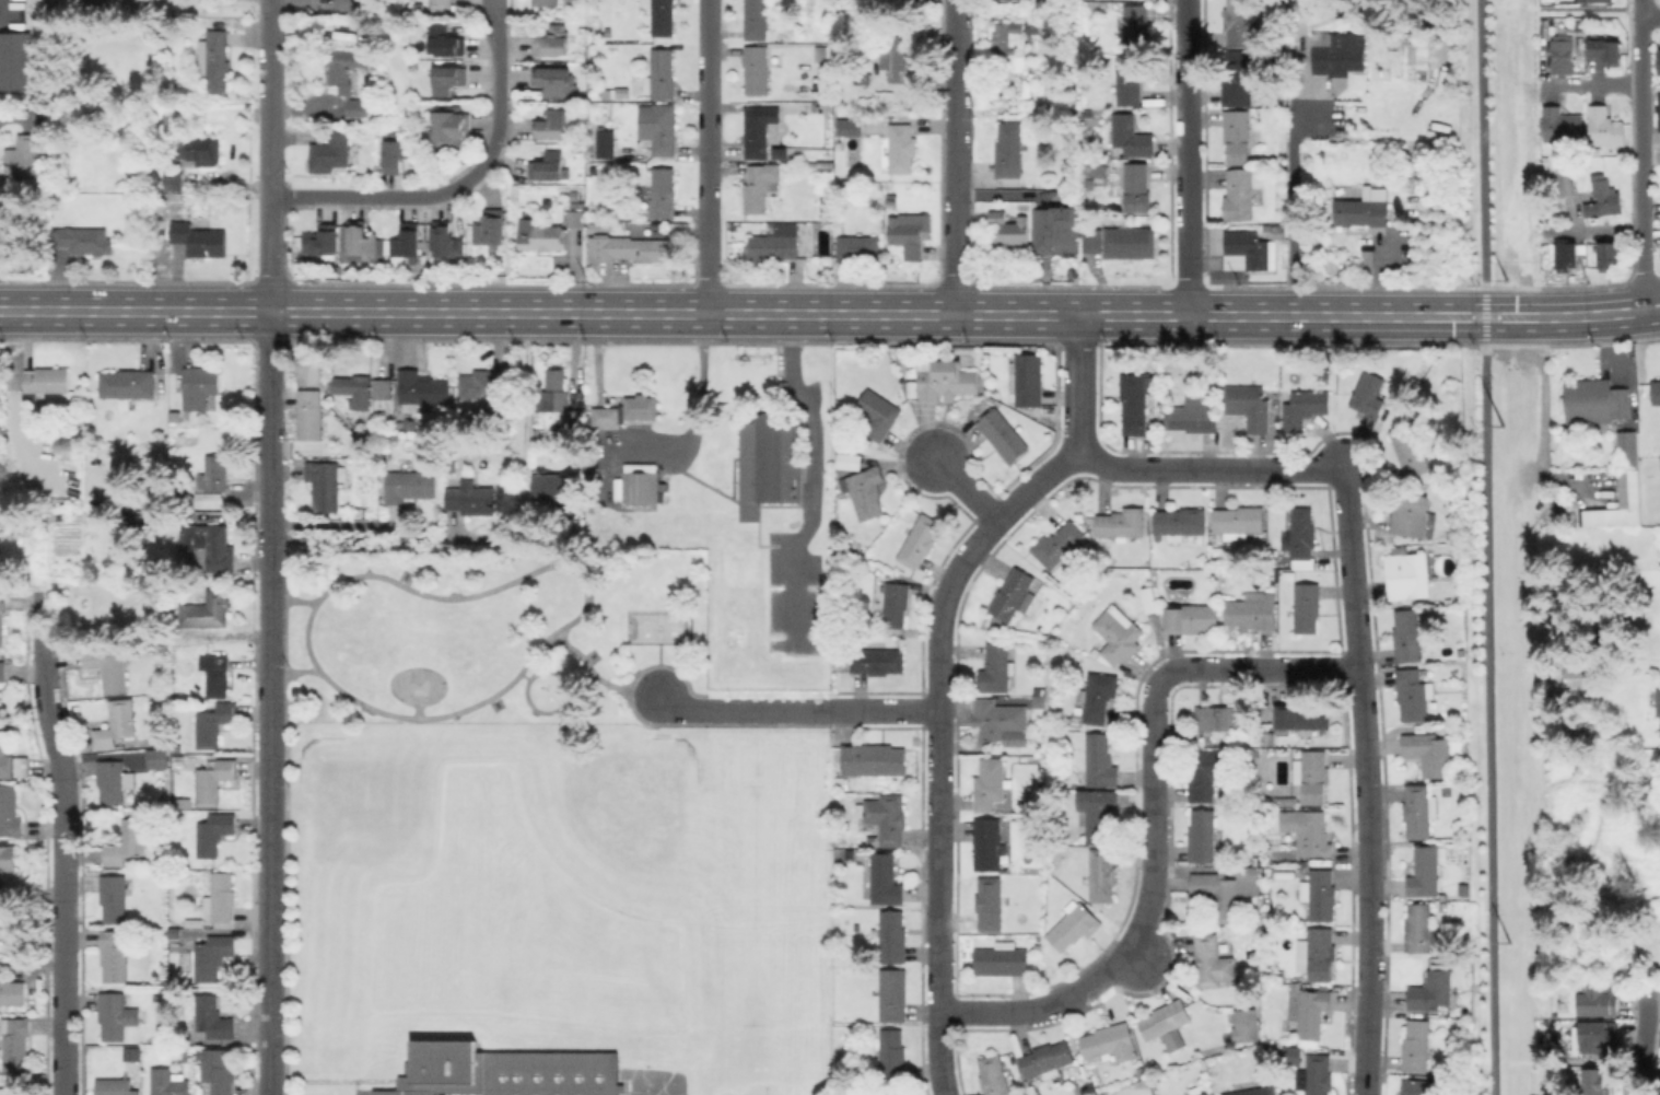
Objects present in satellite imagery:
building: (1543, 0)
building: (902, 1)
building: (1594, 1)
building: (96, 2)
building: (440, 2)
building: (545, 2)
building: (347, 4)
road: (491, 7)
building: (809, 12)
building: (663, 16)
road: (1650, 18)
building: (756, 19)
building: (1238, 22)
building: (1134, 26)
building: (445, 42)
building: (551, 42)
building: (1010, 46)
building: (1606, 53)
building: (822, 54)
building: (1564, 56)
building: (898, 58)
building: (1338, 58)
building: (214, 59)
building: (1658, 59)
building: (14, 60)
building: (346, 66)
building: (756, 68)
building: (657, 75)
building: (862, 78)
building: (1238, 78)
building: (448, 79)
building: (1127, 80)
building: (556, 81)
road: (1594, 85)
building: (616, 93)
road: (268, 98)
building: (1325, 104)
building: (356, 108)
building: (1659, 108)
building: (640, 112)
road: (16, 115)
building: (446, 124)
building: (550, 124)
building: (850, 126)
building: (1563, 126)
building: (1605, 127)
building: (664, 130)
building: (757, 132)
building: (1131, 135)
building: (1237, 135)
building: (605, 141)
road: (1482, 143)
building: (901, 148)
building: (199, 150)
building: (1008, 150)
building: (330, 151)
building: (23, 155)
building: (394, 155)
road: (1640, 155)
road: (706, 156)
road: (954, 158)
road: (1186, 158)
building: (826, 165)
building: (547, 166)
building: (1096, 171)
building: (173, 179)
building: (1566, 180)
road: (455, 185)
building: (760, 185)
building: (1137, 186)
building: (663, 191)
building: (1239, 194)
building: (1604, 197)
road: (1289, 203)
building: (1364, 207)
building: (576, 213)
building: (489, 226)
building: (1010, 228)
building: (1056, 231)
building: (1278, 231)
building: (909, 234)
building: (538, 235)
building: (200, 236)
building: (84, 240)
building: (322, 240)
building: (361, 240)
building: (406, 241)
building: (445, 241)
building: (1117, 241)
building: (775, 243)
building: (857, 247)
building: (628, 248)
building: (1246, 251)
road: (268, 254)
building: (1567, 255)
building: (1610, 255)
road: (830, 314)
road: (1484, 315)
building: (309, 369)
building: (1029, 378)
building: (45, 381)
road: (1078, 381)
building: (948, 383)
building: (127, 384)
building: (487, 385)
building: (383, 387)
building: (199, 388)
building: (421, 388)
building: (554, 391)
building: (1656, 392)
building: (355, 393)
building: (1369, 394)
road: (525, 400)
building: (1595, 400)
building: (1135, 403)
road: (1541, 404)
building: (1250, 405)
building: (459, 406)
building: (1305, 407)
road: (697, 408)
building: (628, 410)
building: (309, 413)
building: (878, 413)
building: (1193, 416)
building: (1003, 433)
building: (364, 440)
building: (1411, 450)
building: (845, 461)
building: (1658, 462)
building: (769, 463)
road: (1212, 469)
building: (214, 474)
road: (813, 477)
building: (641, 482)
building: (325, 484)
building: (409, 485)
building: (554, 485)
building: (1622, 488)
building: (865, 491)
road: (967, 491)
building: (470, 498)
building: (210, 501)
building: (1411, 513)
building: (7, 520)
building: (1239, 521)
building: (1180, 522)
road: (330, 523)
building: (1122, 523)
building: (1301, 532)
road: (363, 539)
building: (921, 540)
building: (1059, 544)
building: (214, 550)
building: (1407, 573)
building: (1015, 595)
building: (1150, 599)
building: (895, 603)
building: (1308, 606)
building: (208, 609)
road: (583, 609)
building: (1253, 611)
building: (2, 613)
building: (1192, 618)
park: (656, 626)
park: (495, 634)
building: (1117, 636)
building: (1411, 636)
road: (306, 638)
building: (165, 648)
building: (878, 659)
building: (108, 666)
building: (997, 666)
building: (2, 671)
building: (1425, 671)
building: (215, 674)
building: (1575, 676)
road: (596, 677)
building: (1414, 694)
building: (1095, 699)
road: (675, 702)
building: (1658, 702)
road: (269, 703)
building: (1041, 706)
road: (886, 710)
road: (762, 711)
building: (999, 718)
building: (1304, 718)
building: (1220, 719)
road: (1488, 720)
building: (116, 723)
building: (214, 723)
building: (1271, 737)
road: (940, 742)
building: (1430, 753)
building: (157, 757)
building: (11, 759)
building: (874, 759)
building: (1100, 760)
building: (1207, 772)
building: (1313, 774)
building: (213, 779)
building: (114, 780)
road: (1367, 782)
building: (857, 787)
building: (992, 787)
building: (1284, 800)
building: (183, 803)
building: (1025, 808)
building: (1419, 809)
building: (10, 811)
building: (1098, 813)
building: (886, 817)
road: (1155, 822)
building: (1309, 830)
building: (214, 832)
building: (1202, 835)
road: (70, 839)
building: (128, 841)
building: (987, 843)
building: (8, 858)
building: (1307, 861)
building: (1426, 871)
building: (1269, 872)
building: (1102, 874)
building: (1285, 874)
building: (885, 878)
building: (1227, 888)
building: (1321, 894)
building: (221, 897)
building: (114, 898)
building: (990, 902)
building: (1074, 924)
building: (1418, 927)
building: (185, 932)
building: (893, 936)
building: (1318, 953)
building: (212, 955)
building: (115, 956)
building: (1002, 959)
building: (1212, 962)
road: (1142, 964)
building: (1276, 975)
building: (1433, 989)
building: (11, 990)
building: (893, 994)
building: (1600, 1000)
building: (1310, 1010)
building: (113, 1015)
building: (212, 1017)
building: (1167, 1023)
building: (1247, 1025)
building: (1597, 1037)
road: (1643, 1039)
building: (15, 1041)
building: (1111, 1041)
building: (1417, 1045)
building: (1274, 1048)
building: (131, 1055)
building: (892, 1055)
building: (1047, 1059)
building: (219, 1070)
building: (502, 1071)
building: (1319, 1073)
building: (994, 1074)
building: (168, 1082)
building: (1593, 1082)
building: (115, 1086)
building: (1422, 1086)
building: (7, 1091)
building: (1079, 1091)
building: (1255, 1091)
building: (890, 1092)
building: (1203, 1093)
building: (1039, 1094)

